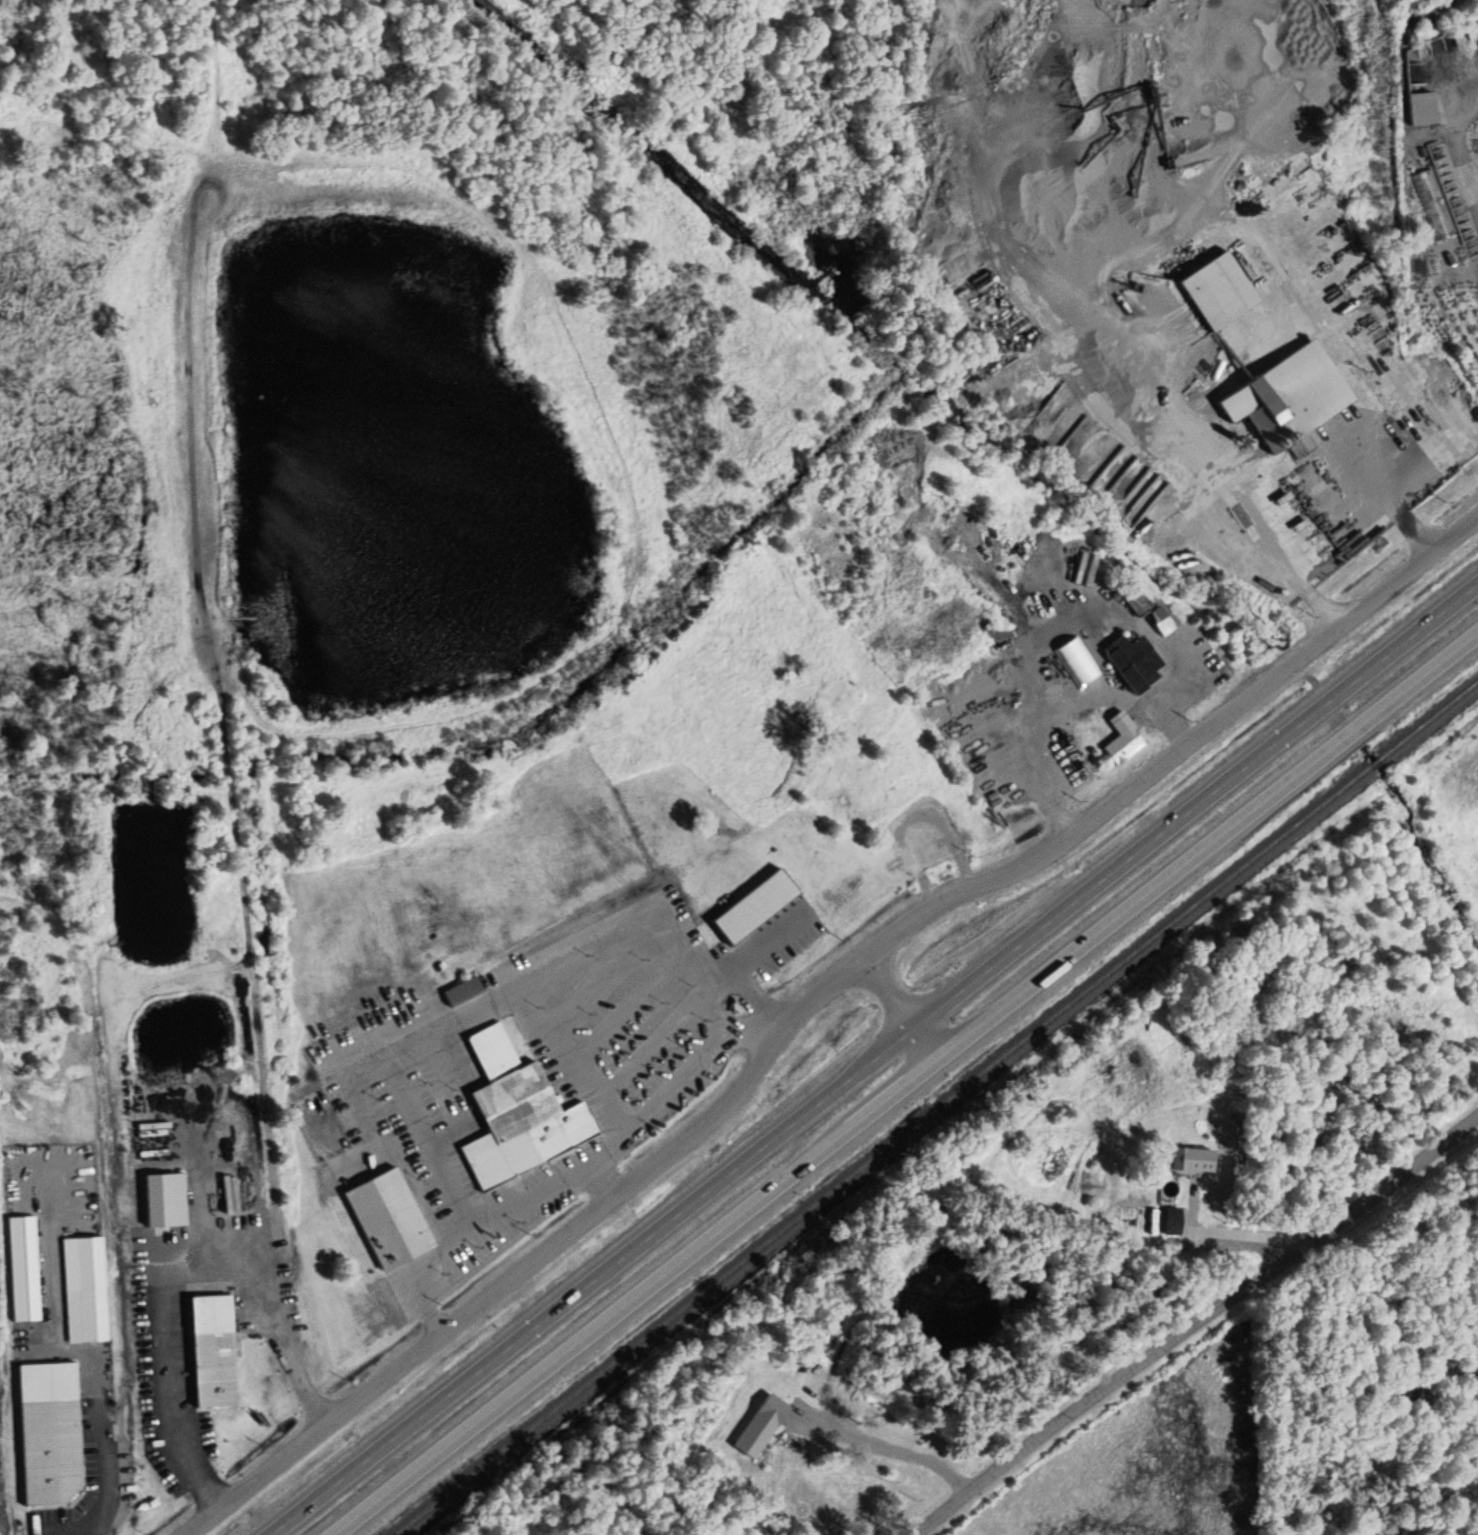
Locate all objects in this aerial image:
building: (1432, 203)
road: (1135, 229)
building: (1215, 289)
building: (1286, 397)
building: (1132, 600)
building: (1132, 658)
road: (227, 713)
building: (1121, 737)
building: (461, 990)
road: (810, 999)
road: (899, 1006)
road: (872, 1057)
road: (905, 1082)
railway: (936, 1108)
building: (516, 1112)
building: (1186, 1157)
building: (387, 1217)
building: (1171, 1219)
building: (85, 1314)
road: (1195, 1321)
building: (211, 1350)
road: (890, 1443)
building: (48, 1450)
building: (394, 1485)

